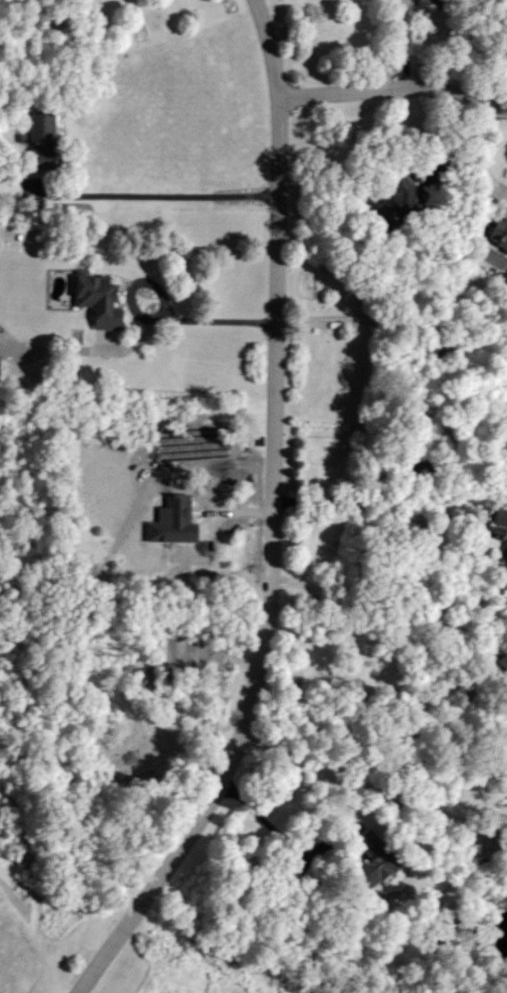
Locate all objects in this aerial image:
road: (404, 43)
road: (393, 90)
road: (193, 126)
building: (36, 138)
road: (168, 194)
building: (392, 197)
building: (497, 232)
building: (94, 298)
road: (158, 319)
road: (397, 321)
road: (88, 349)
road: (377, 499)
building: (499, 516)
road: (273, 520)
building: (503, 548)
road: (371, 624)
road: (372, 787)
road: (265, 819)
building: (369, 861)

